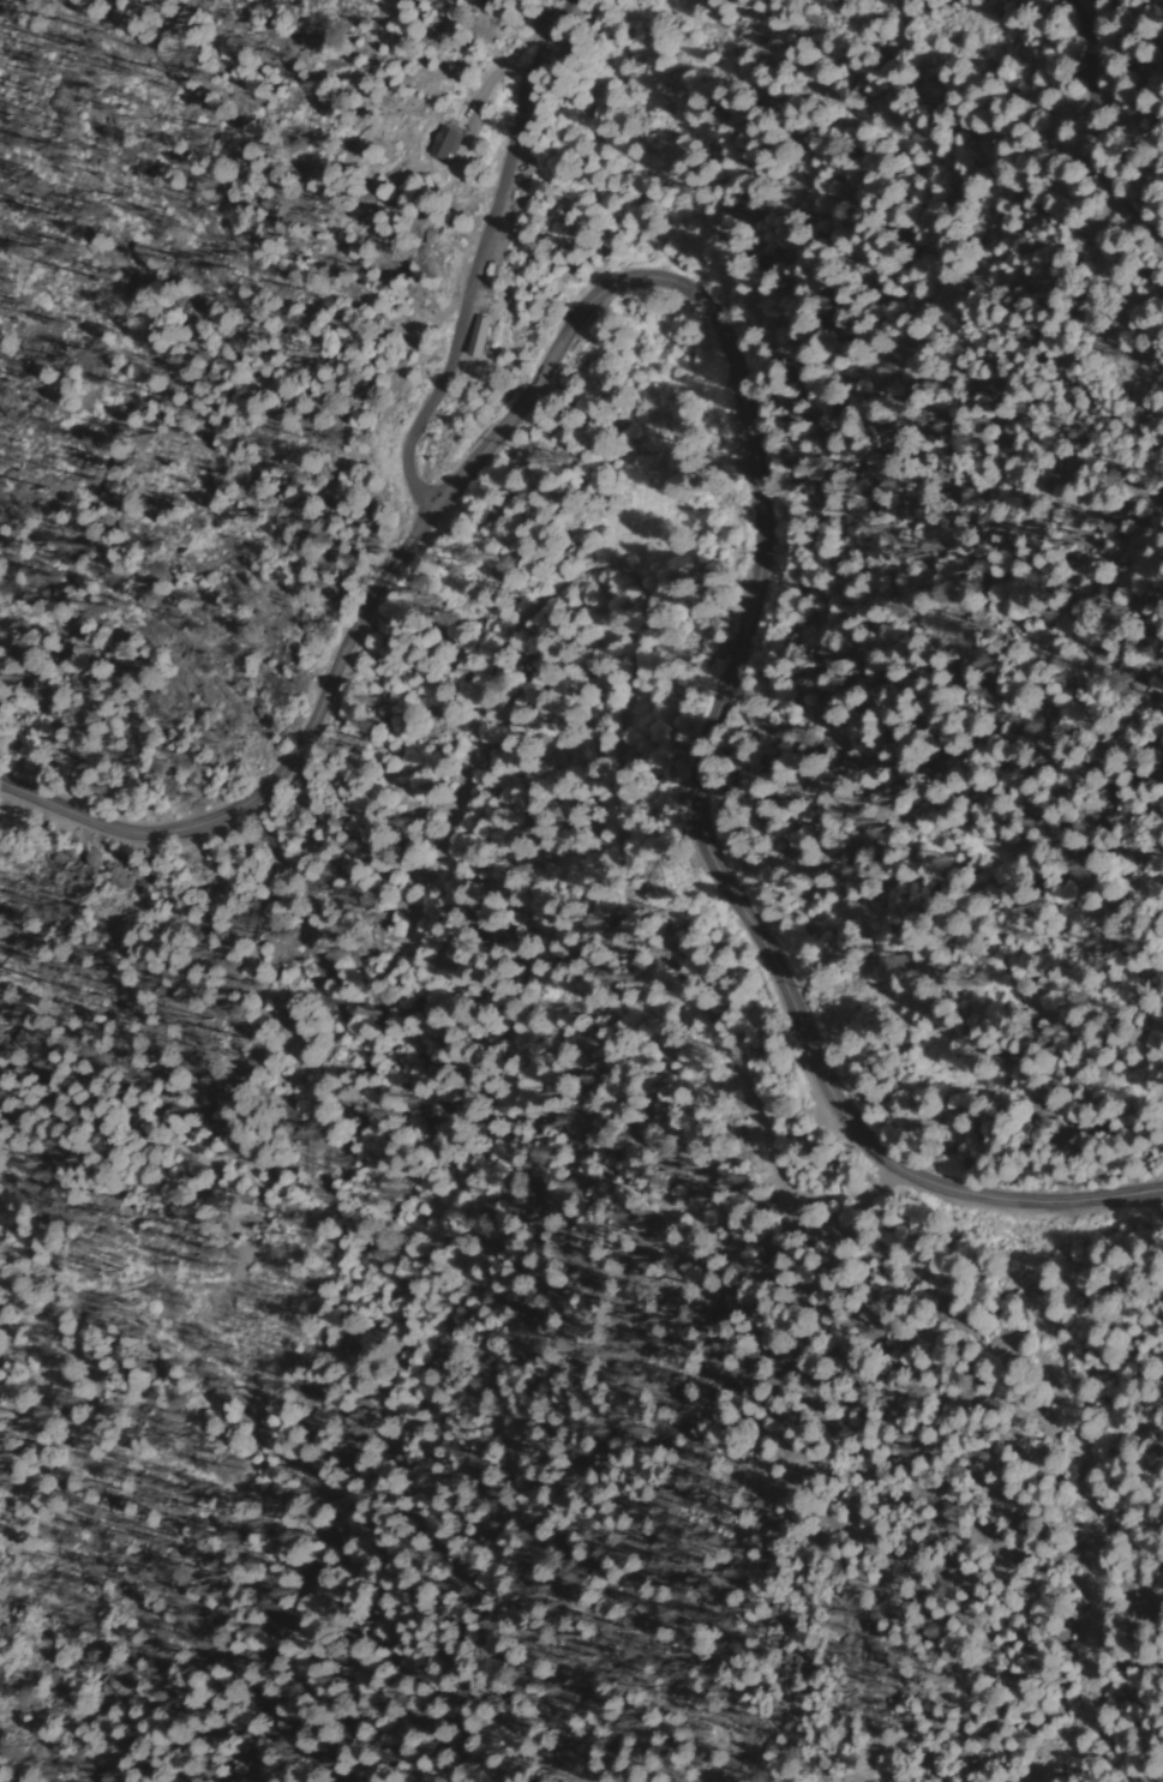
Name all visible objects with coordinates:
building: (446, 142)
road: (738, 395)

